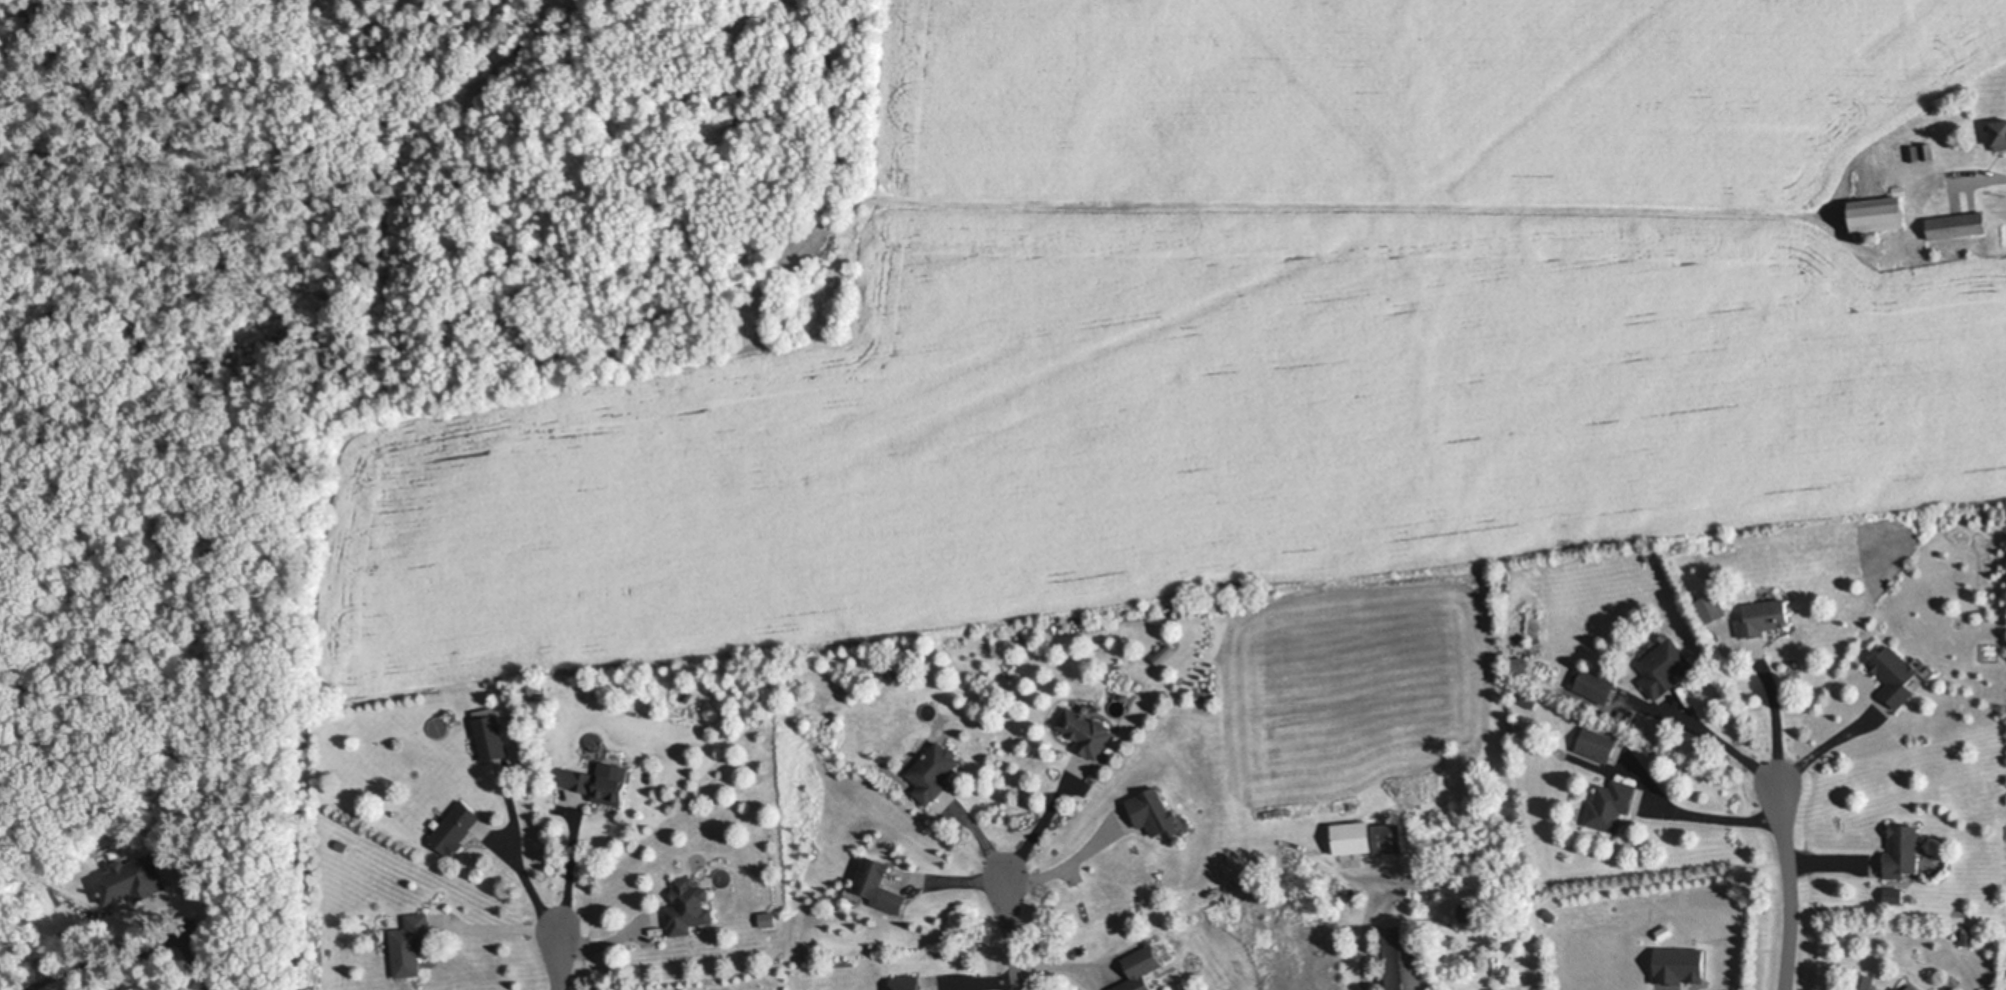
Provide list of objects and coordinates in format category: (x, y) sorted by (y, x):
building: (1998, 132)
building: (1927, 150)
building: (1914, 152)
road: (1982, 173)
building: (1899, 190)
building: (1878, 215)
building: (1956, 225)
building: (1872, 238)
building: (1863, 239)
building: (1713, 605)
building: (1763, 617)
building: (1522, 666)
building: (1665, 666)
building: (1896, 673)
building: (1593, 680)
building: (688, 695)
building: (1531, 698)
road: (1779, 713)
building: (1085, 729)
building: (491, 737)
building: (1597, 741)
road: (1718, 744)
road: (1830, 748)
building: (934, 769)
building: (596, 783)
building: (1610, 802)
building: (1156, 810)
road: (1689, 813)
road: (1037, 823)
building: (454, 827)
building: (1353, 836)
building: (1388, 837)
building: (342, 845)
building: (1902, 848)
road: (512, 855)
road: (567, 867)
road: (1072, 867)
building: (132, 878)
road: (950, 883)
building: (878, 884)
road: (1789, 888)
building: (1895, 897)
building: (688, 906)
building: (1473, 914)
road: (1368, 918)
building: (769, 921)
road: (504, 932)
road: (1011, 933)
building: (1966, 935)
building: (411, 942)
road: (607, 946)
building: (1403, 957)
road: (559, 961)
road: (198, 964)
building: (1682, 967)
building: (1143, 969)
road: (1063, 970)
building: (1862, 981)
building: (907, 983)
building: (1912, 987)
building: (1898, 988)

